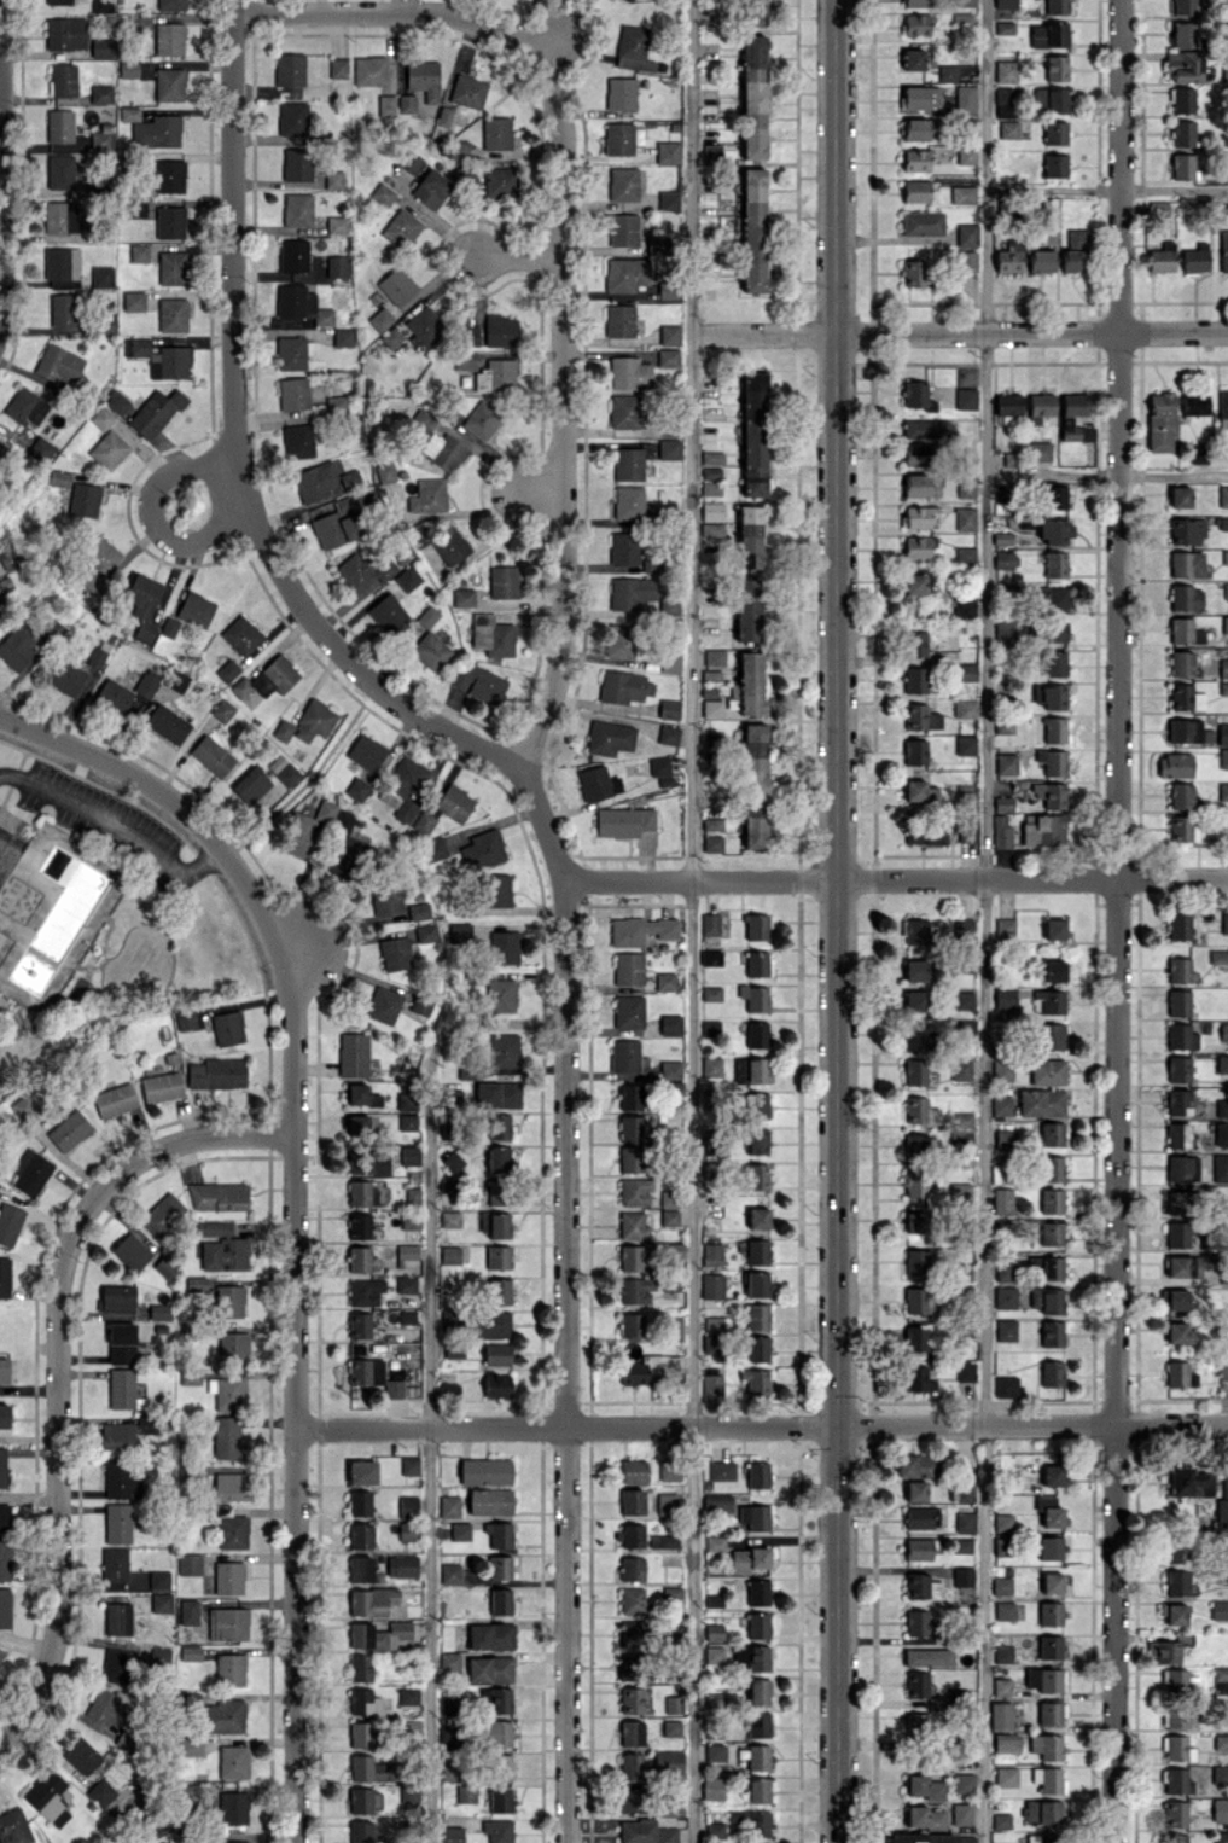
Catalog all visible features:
building: (630, 0)
building: (916, 2)
building: (966, 2)
building: (1005, 2)
building: (1057, 6)
building: (1183, 6)
building: (752, 12)
building: (916, 24)
building: (1003, 27)
building: (1048, 34)
building: (1183, 34)
building: (913, 58)
building: (1183, 64)
building: (1057, 68)
building: (1006, 70)
building: (947, 72)
building: (621, 93)
building: (1003, 94)
building: (753, 97)
building: (921, 97)
building: (965, 98)
building: (1049, 99)
building: (1182, 100)
building: (915, 128)
building: (1008, 128)
building: (1054, 132)
building: (1182, 133)
building: (622, 138)
building: (712, 151)
building: (668, 152)
building: (966, 153)
road: (5, 157)
building: (915, 159)
building: (1055, 164)
road: (984, 165)
building: (1182, 165)
building: (623, 184)
road: (1105, 188)
building: (915, 190)
building: (962, 193)
building: (669, 199)
road: (233, 209)
building: (1158, 209)
road: (436, 221)
building: (923, 222)
building: (623, 228)
building: (753, 229)
building: (967, 233)
building: (657, 244)
building: (1075, 250)
building: (1223, 250)
road: (519, 255)
building: (1162, 257)
building: (1195, 257)
building: (1008, 258)
building: (965, 260)
building: (1040, 260)
building: (914, 272)
building: (625, 273)
building: (668, 291)
building: (619, 320)
road: (959, 332)
building: (669, 333)
building: (668, 356)
building: (629, 373)
building: (918, 395)
building: (966, 397)
building: (1008, 403)
building: (1194, 403)
building: (1038, 407)
building: (1223, 407)
building: (624, 411)
building: (1066, 420)
building: (1160, 420)
building: (925, 428)
building: (753, 434)
building: (669, 448)
building: (1041, 450)
building: (1199, 452)
building: (916, 453)
building: (711, 457)
building: (628, 463)
building: (710, 472)
road: (1105, 473)
building: (916, 484)
building: (965, 488)
building: (1001, 493)
building: (1223, 495)
building: (1053, 496)
building: (1180, 496)
building: (628, 501)
road: (149, 510)
building: (711, 510)
building: (919, 514)
building: (965, 518)
building: (1223, 522)
building: (712, 529)
building: (1055, 530)
building: (1187, 530)
building: (750, 536)
building: (624, 547)
building: (916, 547)
building: (965, 553)
building: (1005, 559)
building: (1055, 564)
building: (1186, 564)
building: (652, 565)
building: (914, 583)
building: (1226, 591)
building: (630, 592)
building: (1186, 597)
building: (1055, 598)
building: (964, 604)
building: (746, 609)
building: (1005, 628)
building: (1055, 630)
building: (1185, 630)
road: (325, 633)
building: (619, 641)
building: (915, 643)
building: (714, 657)
building: (670, 662)
building: (1181, 662)
building: (1054, 663)
building: (1223, 667)
building: (964, 670)
building: (711, 675)
building: (915, 679)
building: (749, 684)
building: (623, 686)
building: (1223, 687)
building: (1053, 696)
building: (1186, 697)
building: (711, 708)
building: (966, 708)
building: (669, 709)
building: (921, 716)
building: (1055, 728)
building: (1185, 729)
building: (1222, 733)
building: (668, 734)
building: (609, 737)
building: (965, 744)
building: (915, 751)
building: (1223, 757)
building: (1052, 761)
building: (1006, 763)
building: (1175, 764)
building: (596, 783)
building: (753, 785)
road: (529, 789)
building: (919, 790)
building: (1223, 790)
building: (1049, 793)
building: (1180, 795)
building: (1002, 803)
road: (121, 820)
parking lot: (110, 821)
building: (623, 821)
road: (14, 822)
building: (1043, 829)
building: (1180, 829)
building: (966, 830)
building: (924, 831)
building: (1001, 831)
building: (712, 843)
building: (6, 855)
road: (896, 877)
park: (104, 909)
road: (45, 914)
road: (692, 921)
road: (837, 921)
road: (1117, 921)
building: (710, 923)
building: (1224, 923)
building: (1180, 925)
building: (756, 926)
building: (964, 926)
building: (1005, 929)
building: (1054, 929)
building: (641, 930)
building: (915, 931)
building: (1218, 957)
building: (711, 958)
building: (756, 963)
building: (628, 967)
building: (915, 970)
building: (1054, 970)
building: (1178, 970)
building: (664, 981)
building: (711, 993)
building: (755, 996)
building: (1005, 998)
building: (915, 1000)
building: (964, 1000)
building: (1048, 1001)
building: (1178, 1002)
building: (628, 1011)
building: (670, 1024)
building: (710, 1028)
building: (1223, 1030)
building: (756, 1034)
building: (916, 1035)
building: (1051, 1035)
building: (1181, 1036)
building: (624, 1054)
building: (1222, 1063)
building: (711, 1065)
building: (1178, 1068)
building: (669, 1069)
building: (960, 1069)
building: (751, 1070)
building: (915, 1071)
building: (1047, 1071)
road: (982, 1087)
building: (629, 1095)
building: (1041, 1101)
building: (1177, 1101)
building: (757, 1105)
building: (1001, 1105)
building: (1222, 1107)
building: (919, 1110)
building: (630, 1127)
building: (962, 1129)
building: (1052, 1133)
building: (1221, 1133)
building: (1177, 1134)
building: (1005, 1139)
building: (757, 1140)
building: (915, 1145)
building: (630, 1159)
building: (1221, 1159)
building: (1052, 1168)
building: (1182, 1168)
building: (756, 1175)
building: (915, 1182)
building: (635, 1191)
building: (960, 1191)
building: (668, 1198)
building: (1052, 1199)
building: (1001, 1200)
building: (1176, 1202)
road: (293, 1207)
building: (669, 1216)
building: (757, 1217)
building: (914, 1221)
building: (633, 1225)
building: (1052, 1233)
building: (1177, 1233)
building: (674, 1250)
building: (757, 1251)
building: (711, 1254)
building: (632, 1257)
building: (915, 1262)
building: (1048, 1264)
building: (1183, 1266)
building: (1006, 1269)
building: (756, 1284)
building: (711, 1285)
building: (635, 1289)
building: (1006, 1296)
building: (1047, 1300)
building: (1176, 1300)
building: (920, 1301)
building: (756, 1315)
building: (715, 1322)
building: (632, 1326)
building: (675, 1326)
building: (1005, 1329)
building: (1052, 1332)
building: (1181, 1332)
building: (918, 1337)
building: (711, 1343)
building: (757, 1348)
road: (57, 1364)
building: (633, 1370)
building: (1223, 1370)
building: (965, 1371)
road: (430, 1372)
building: (1052, 1372)
building: (1180, 1374)
building: (919, 1378)
building: (756, 1380)
building: (712, 1383)
building: (1006, 1385)
road: (762, 1424)
traffic signals: (839, 1424)
building: (916, 1465)
building: (721, 1470)
building: (633, 1471)
building: (669, 1471)
building: (757, 1473)
building: (1052, 1473)
building: (1189, 1482)
building: (915, 1490)
building: (964, 1490)
building: (632, 1501)
building: (667, 1502)
building: (717, 1502)
building: (1222, 1502)
building: (1049, 1511)
building: (755, 1516)
building: (918, 1517)
building: (965, 1521)
building: (1002, 1522)
building: (632, 1535)
building: (665, 1541)
building: (715, 1542)
building: (961, 1545)
building: (1001, 1546)
building: (1051, 1547)
building: (919, 1548)
building: (1176, 1550)
building: (749, 1558)
building: (632, 1569)
building: (1224, 1572)
building: (962, 1576)
building: (1176, 1581)
building: (1052, 1582)
building: (1001, 1585)
building: (921, 1586)
building: (671, 1592)
building: (757, 1592)
building: (633, 1600)
building: (1218, 1609)
building: (1003, 1610)
building: (1051, 1614)
building: (1174, 1614)
building: (916, 1622)
building: (758, 1624)
building: (711, 1630)
building: (633, 1633)
building: (1049, 1646)
building: (1165, 1651)
building: (712, 1653)
building: (1003, 1653)
building: (753, 1656)
building: (927, 1656)
building: (632, 1665)
building: (1220, 1673)
building: (1044, 1679)
building: (1175, 1681)
building: (916, 1684)
building: (1001, 1686)
building: (758, 1691)
building: (629, 1699)
building: (1051, 1713)
building: (1000, 1715)
building: (1176, 1717)
building: (758, 1723)
building: (916, 1723)
building: (670, 1727)
building: (632, 1732)
building: (1221, 1742)
building: (1006, 1743)
building: (1047, 1745)
building: (1177, 1748)
building: (715, 1752)
building: (758, 1757)
building: (668, 1761)
building: (632, 1766)
building: (1220, 1773)
building: (1006, 1777)
building: (1048, 1779)
building: (964, 1780)
building: (1177, 1780)
building: (923, 1786)
building: (712, 1787)
building: (758, 1790)
building: (630, 1800)
building: (1220, 1809)
building: (961, 1812)
building: (1043, 1812)
building: (1176, 1813)
building: (925, 1815)
building: (1001, 1820)
building: (752, 1821)
building: (714, 1829)
building: (645, 1832)
building: (1221, 1837)
building: (932, 1838)
building: (1040, 1838)
building: (1175, 1838)
building: (1009, 1842)

